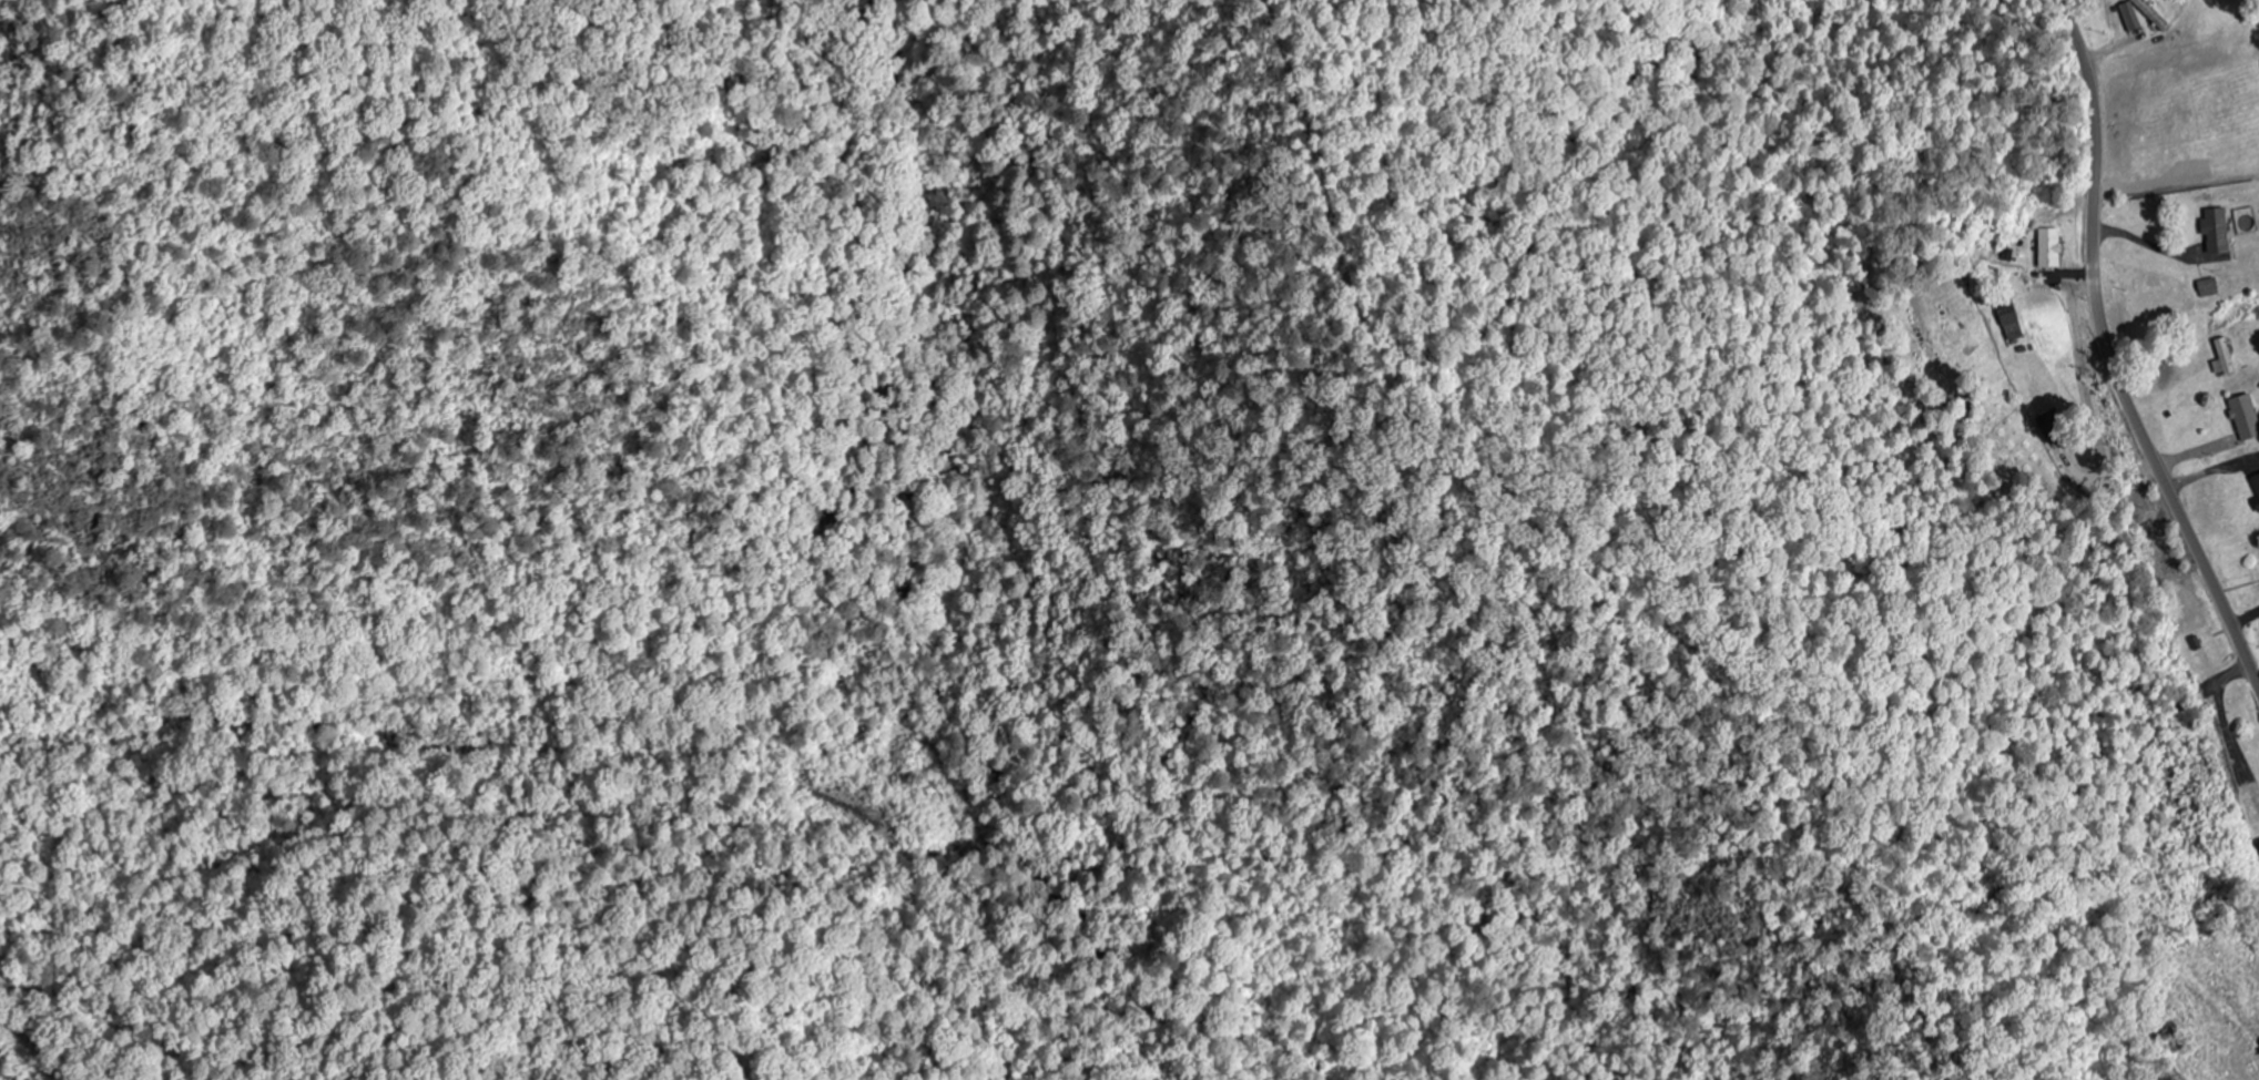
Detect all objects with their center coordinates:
building: (2151, 14)
building: (2216, 231)
building: (2049, 247)
building: (2208, 287)
building: (2011, 320)
road: (2107, 357)
building: (2224, 357)
building: (2245, 417)
building: (2053, 425)
building: (2256, 482)
building: (2257, 503)
building: (2258, 844)

